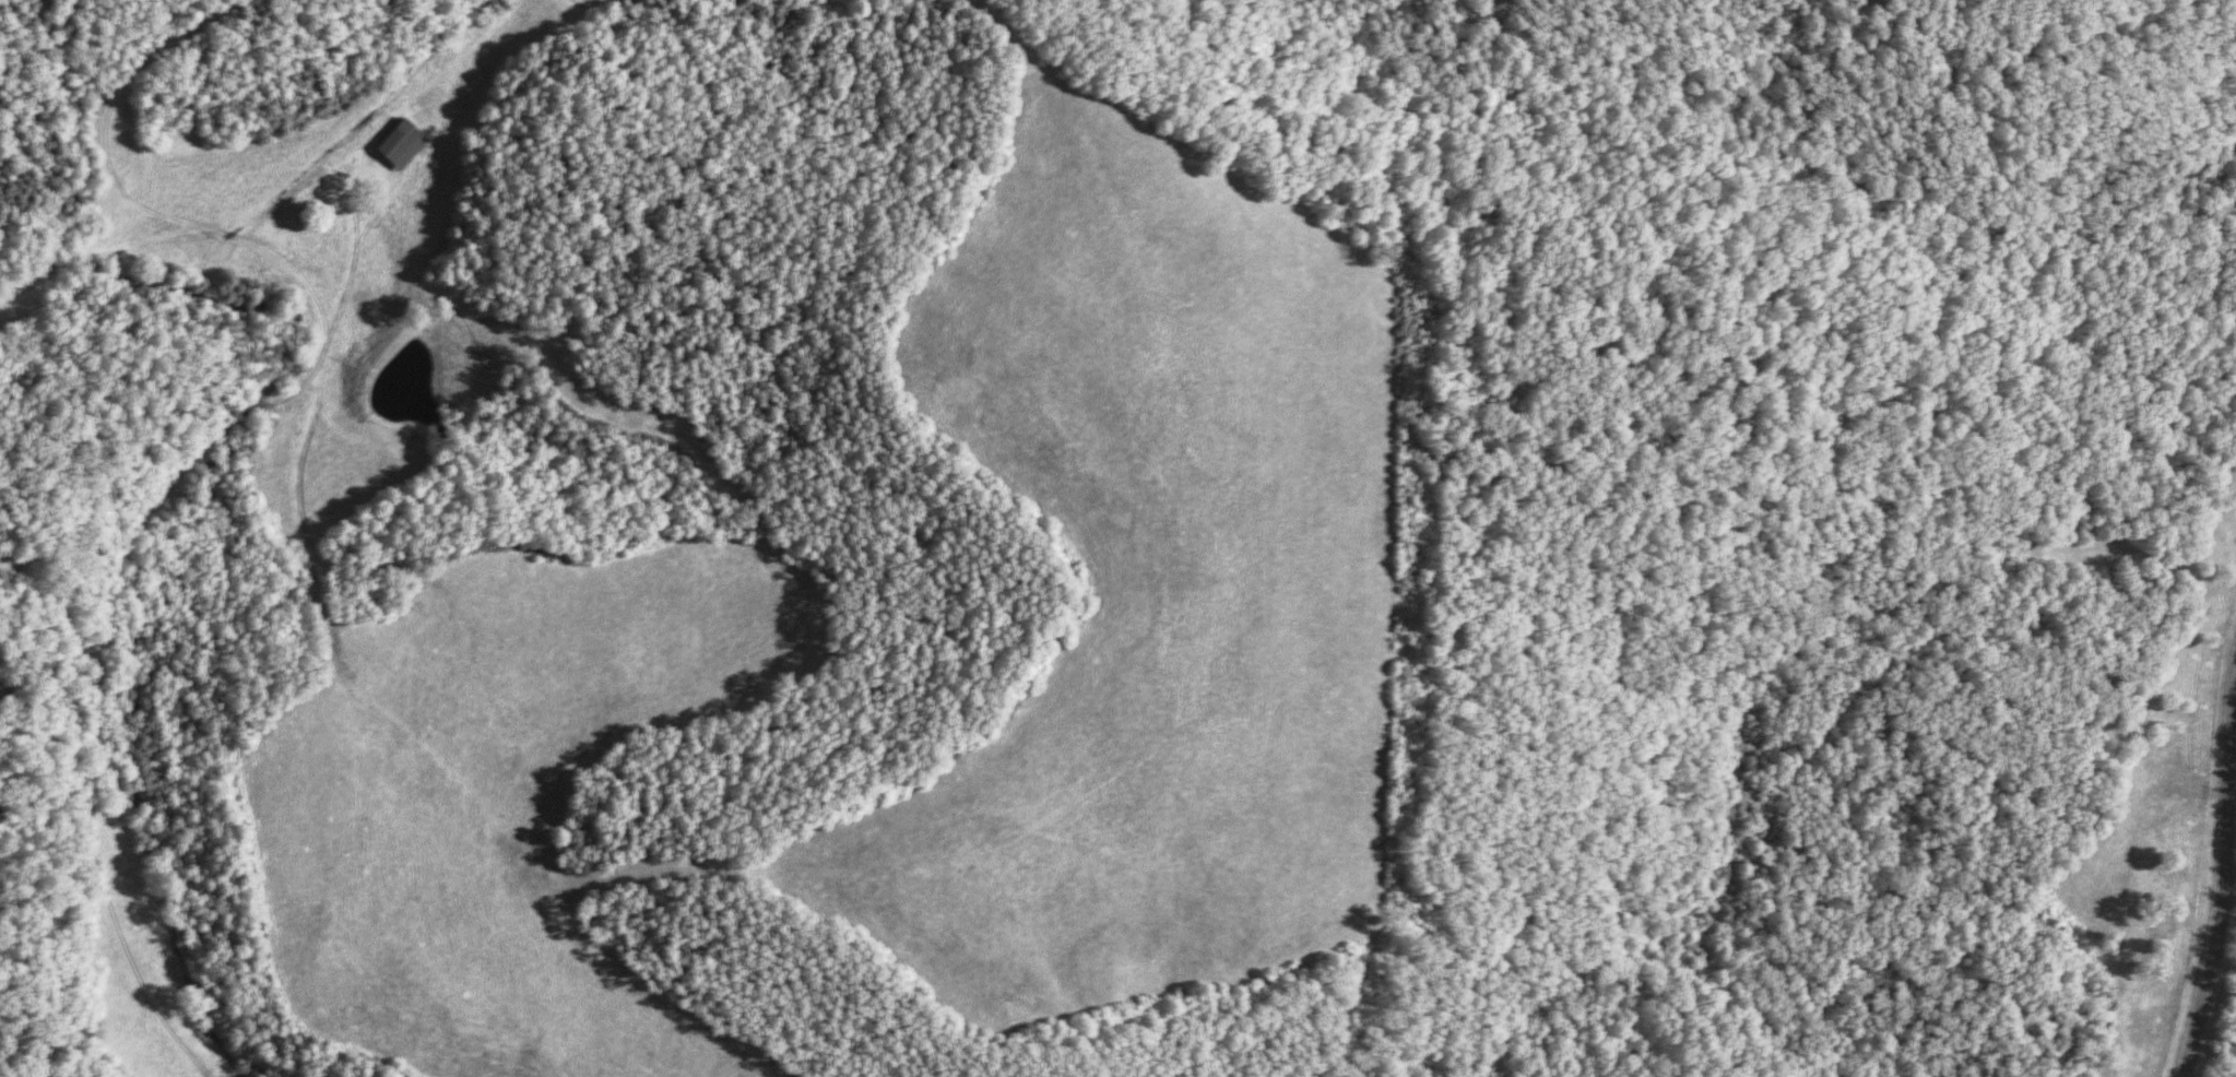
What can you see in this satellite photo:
building: (403, 145)
road: (2231, 898)

